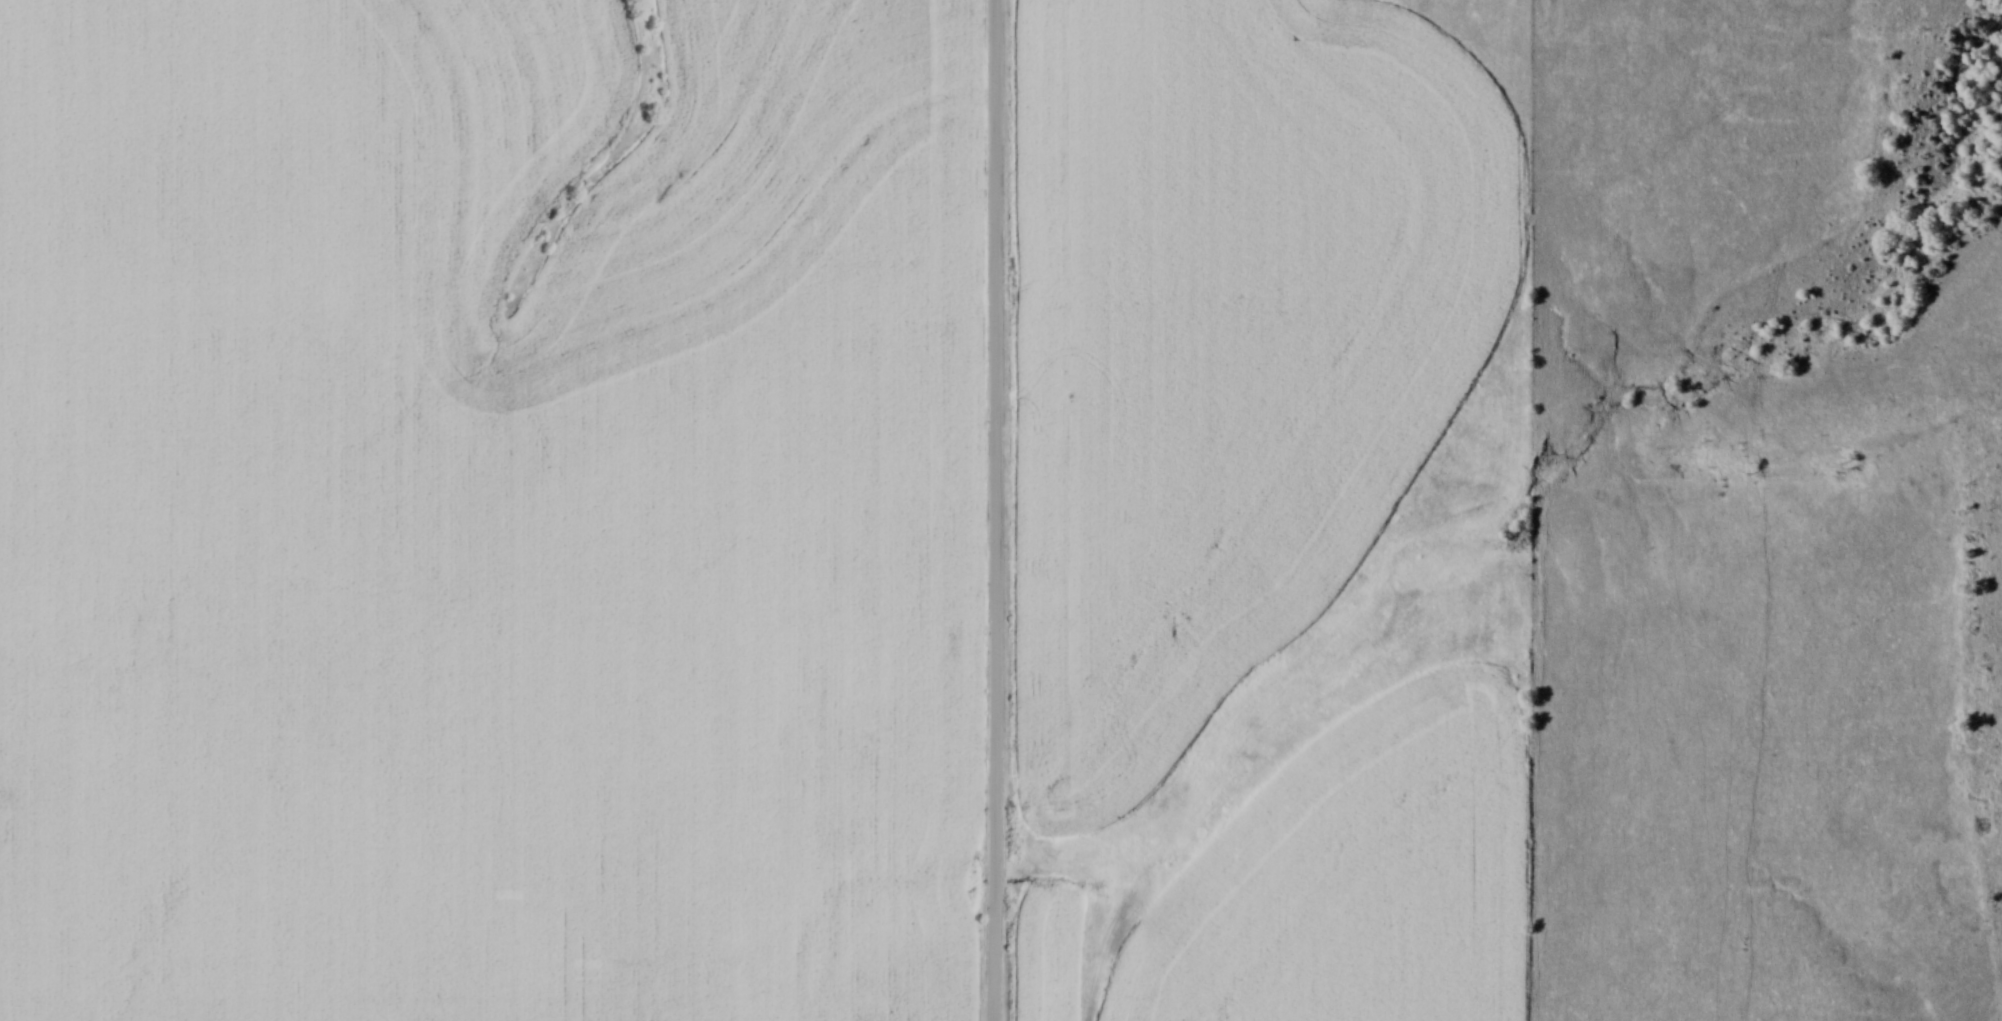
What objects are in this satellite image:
road: (998, 510)

